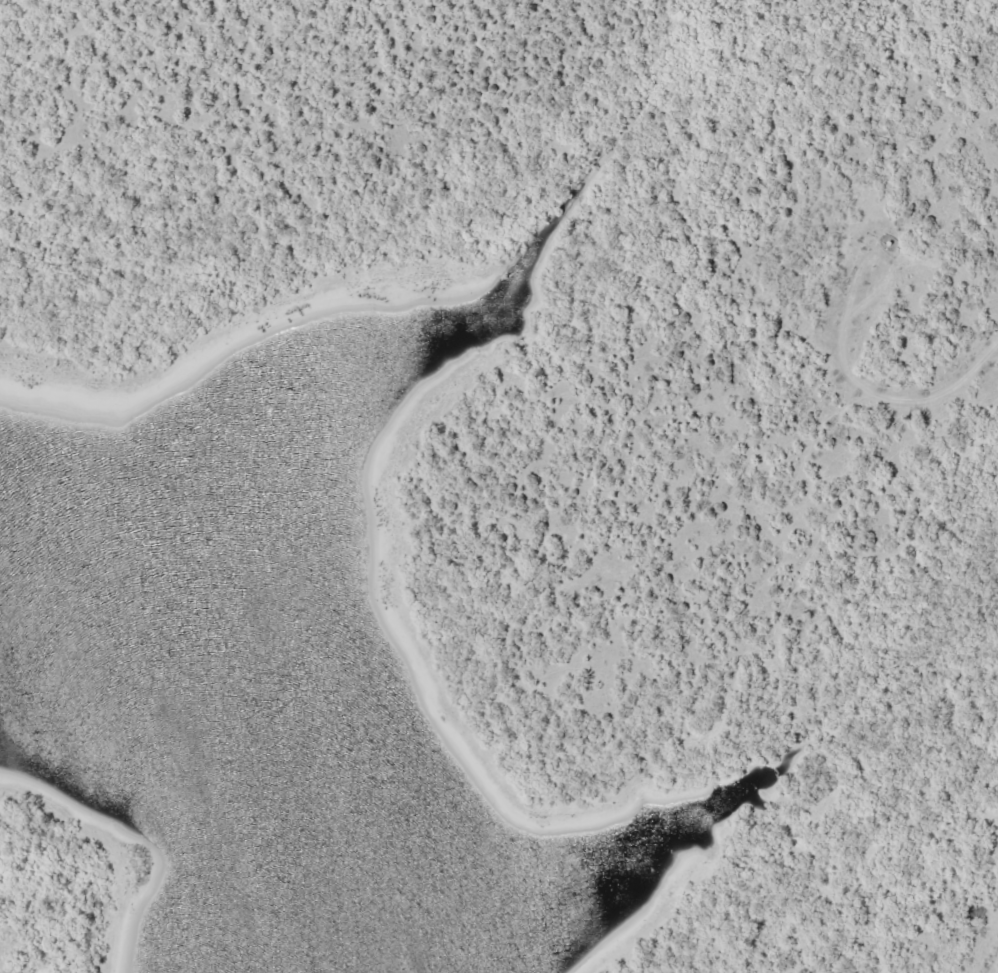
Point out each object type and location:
road: (867, 385)

